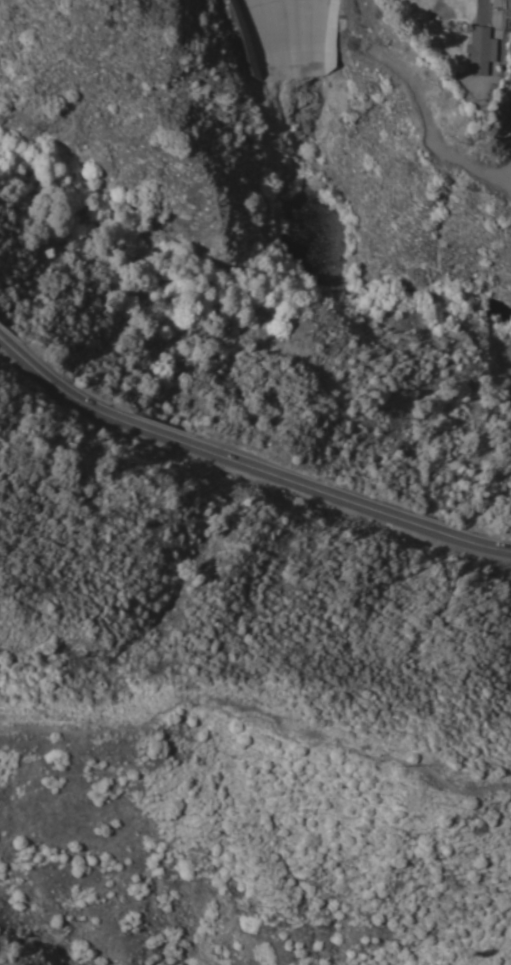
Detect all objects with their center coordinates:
building: (478, 49)
dam: (378, 97)
river: (285, 99)
river: (373, 289)
road: (247, 450)

